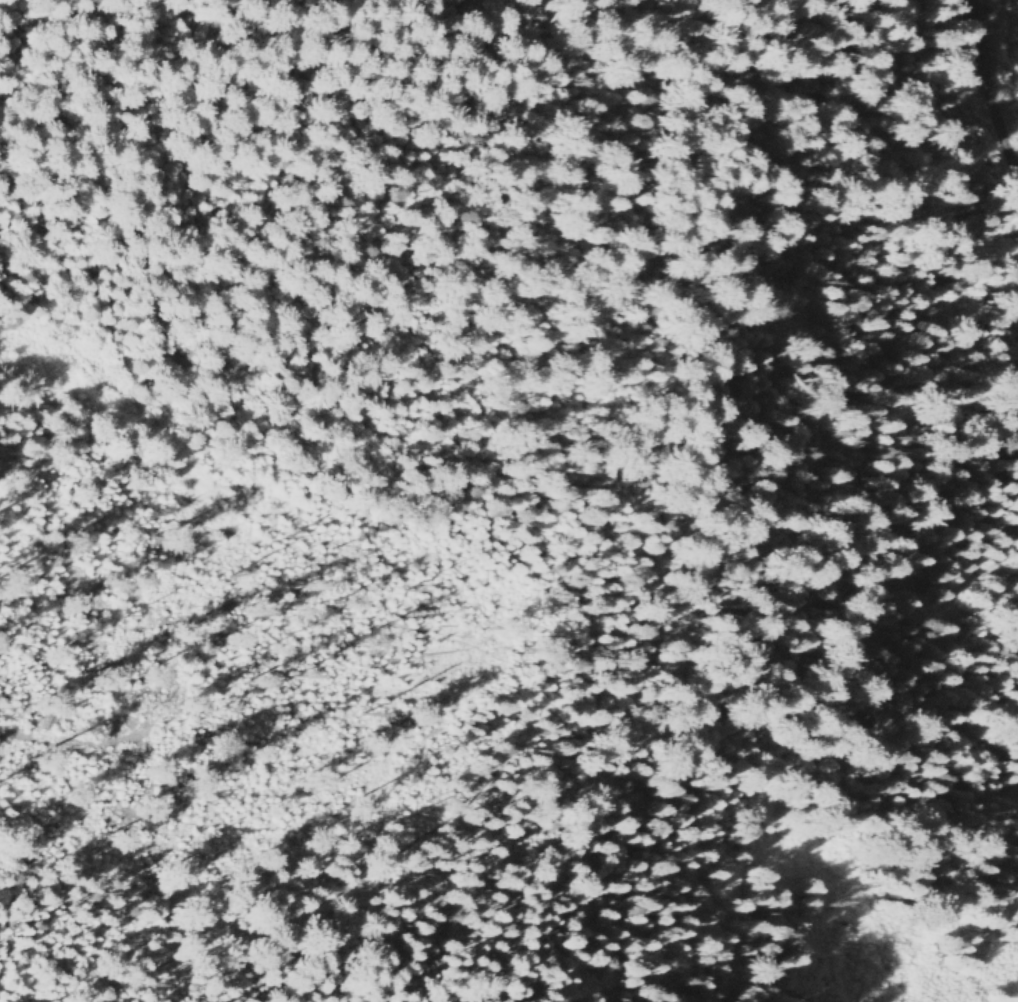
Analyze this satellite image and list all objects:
road: (981, 103)
road: (534, 501)
road: (20, 733)

